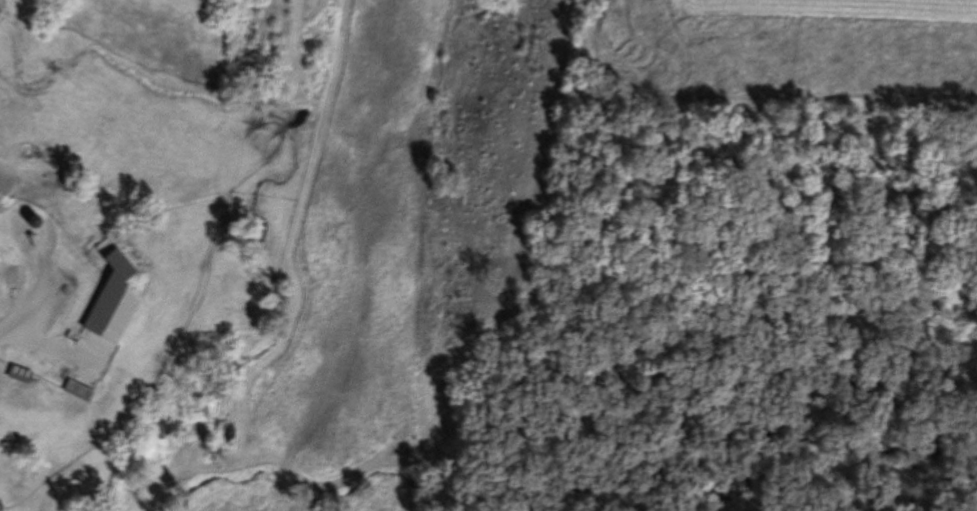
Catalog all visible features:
building: (119, 265)
building: (83, 309)
building: (20, 376)
building: (78, 393)

